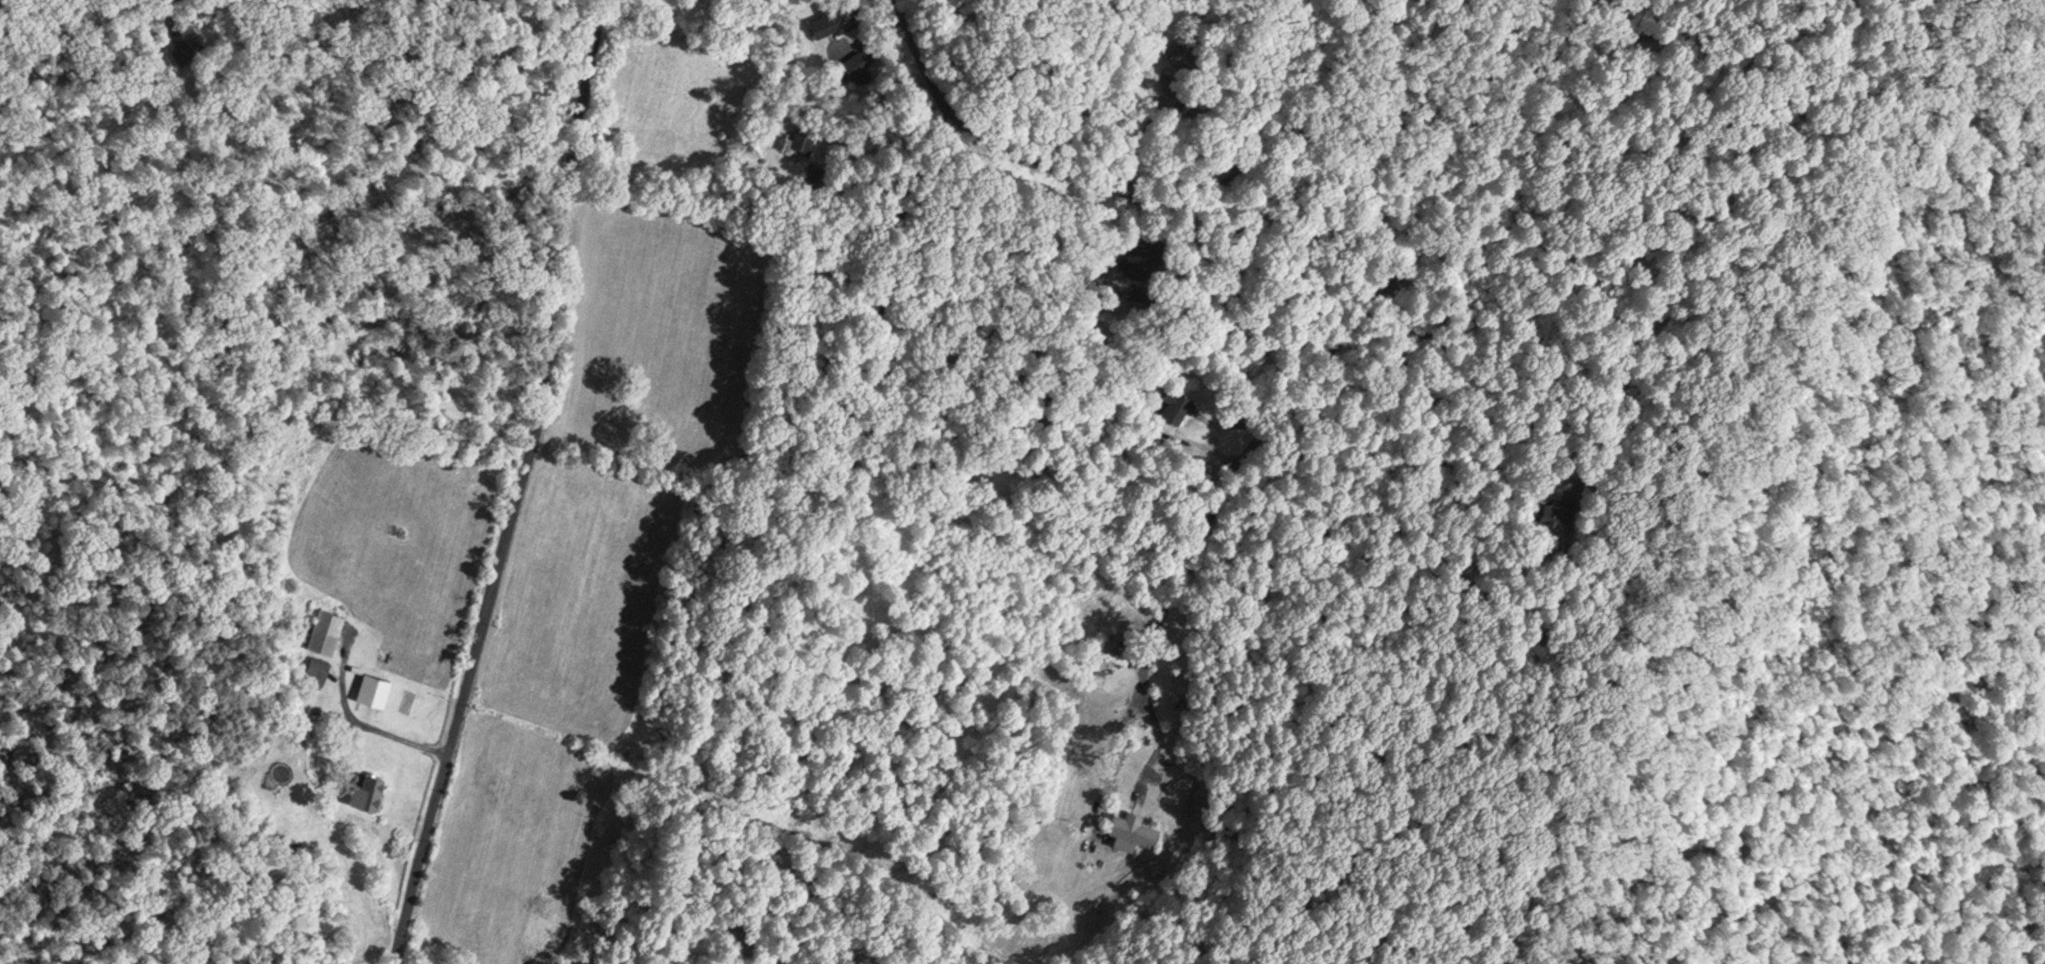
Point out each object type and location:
building: (834, 16)
building: (859, 59)
building: (803, 132)
road: (981, 150)
road: (1323, 352)
road: (519, 486)
building: (1549, 507)
building: (325, 628)
building: (1104, 657)
building: (315, 667)
building: (372, 686)
road: (356, 722)
building: (366, 787)
building: (1131, 827)

